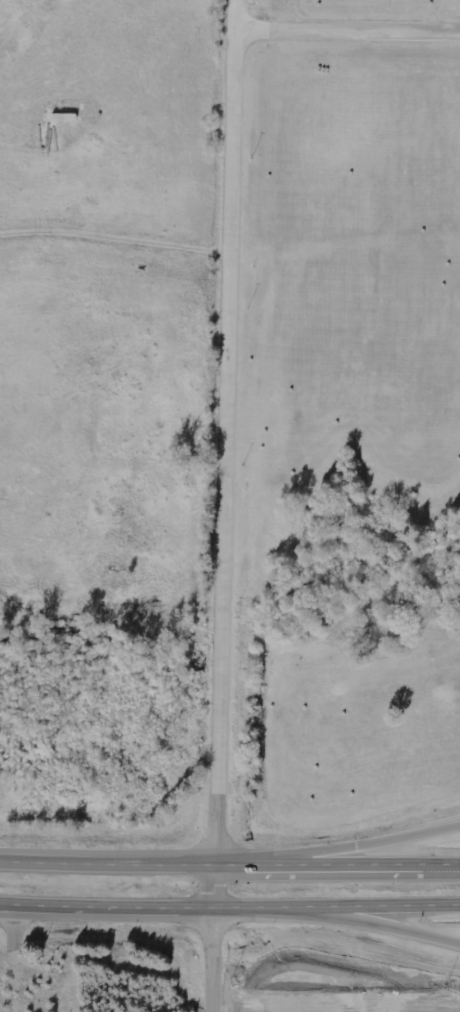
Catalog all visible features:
road: (347, 27)
road: (221, 505)
road: (375, 843)
road: (145, 864)
road: (375, 864)
road: (380, 906)
road: (149, 908)
road: (380, 926)
road: (336, 1004)

